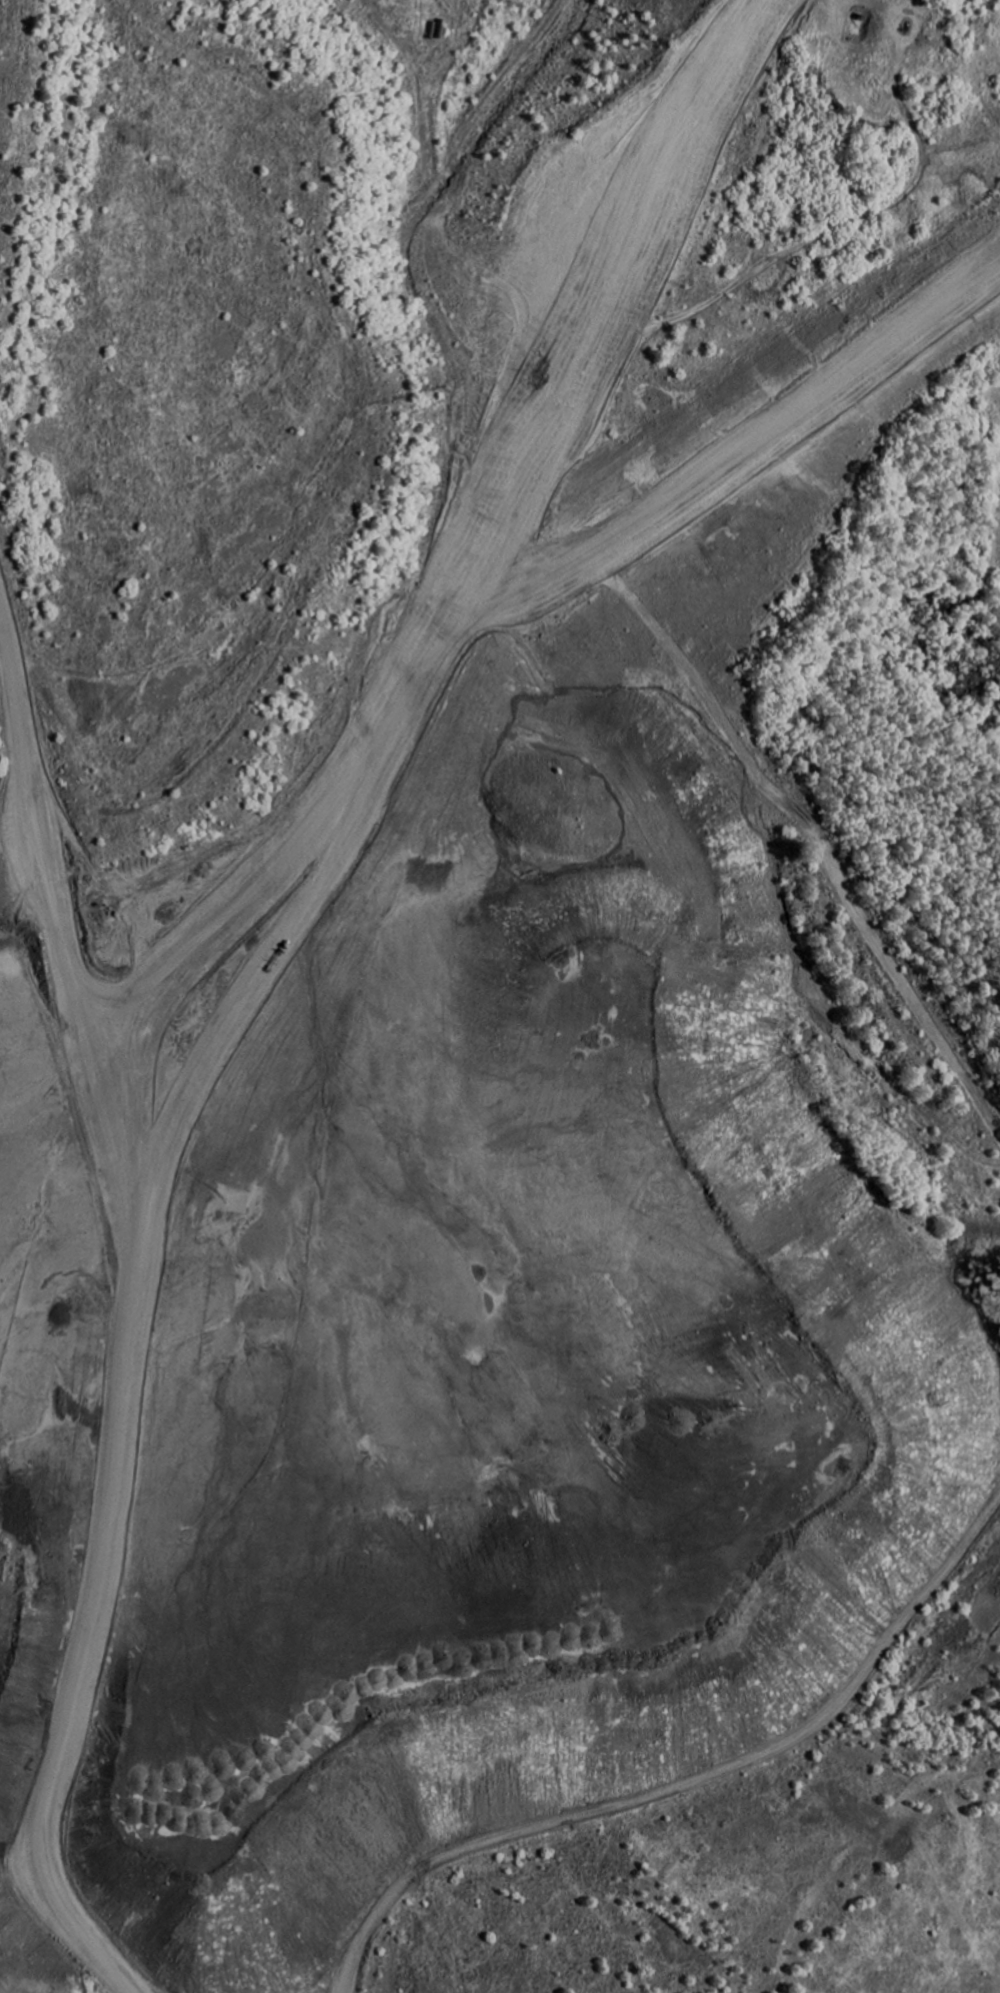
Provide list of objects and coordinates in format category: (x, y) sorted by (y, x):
quarry: (500, 996)

